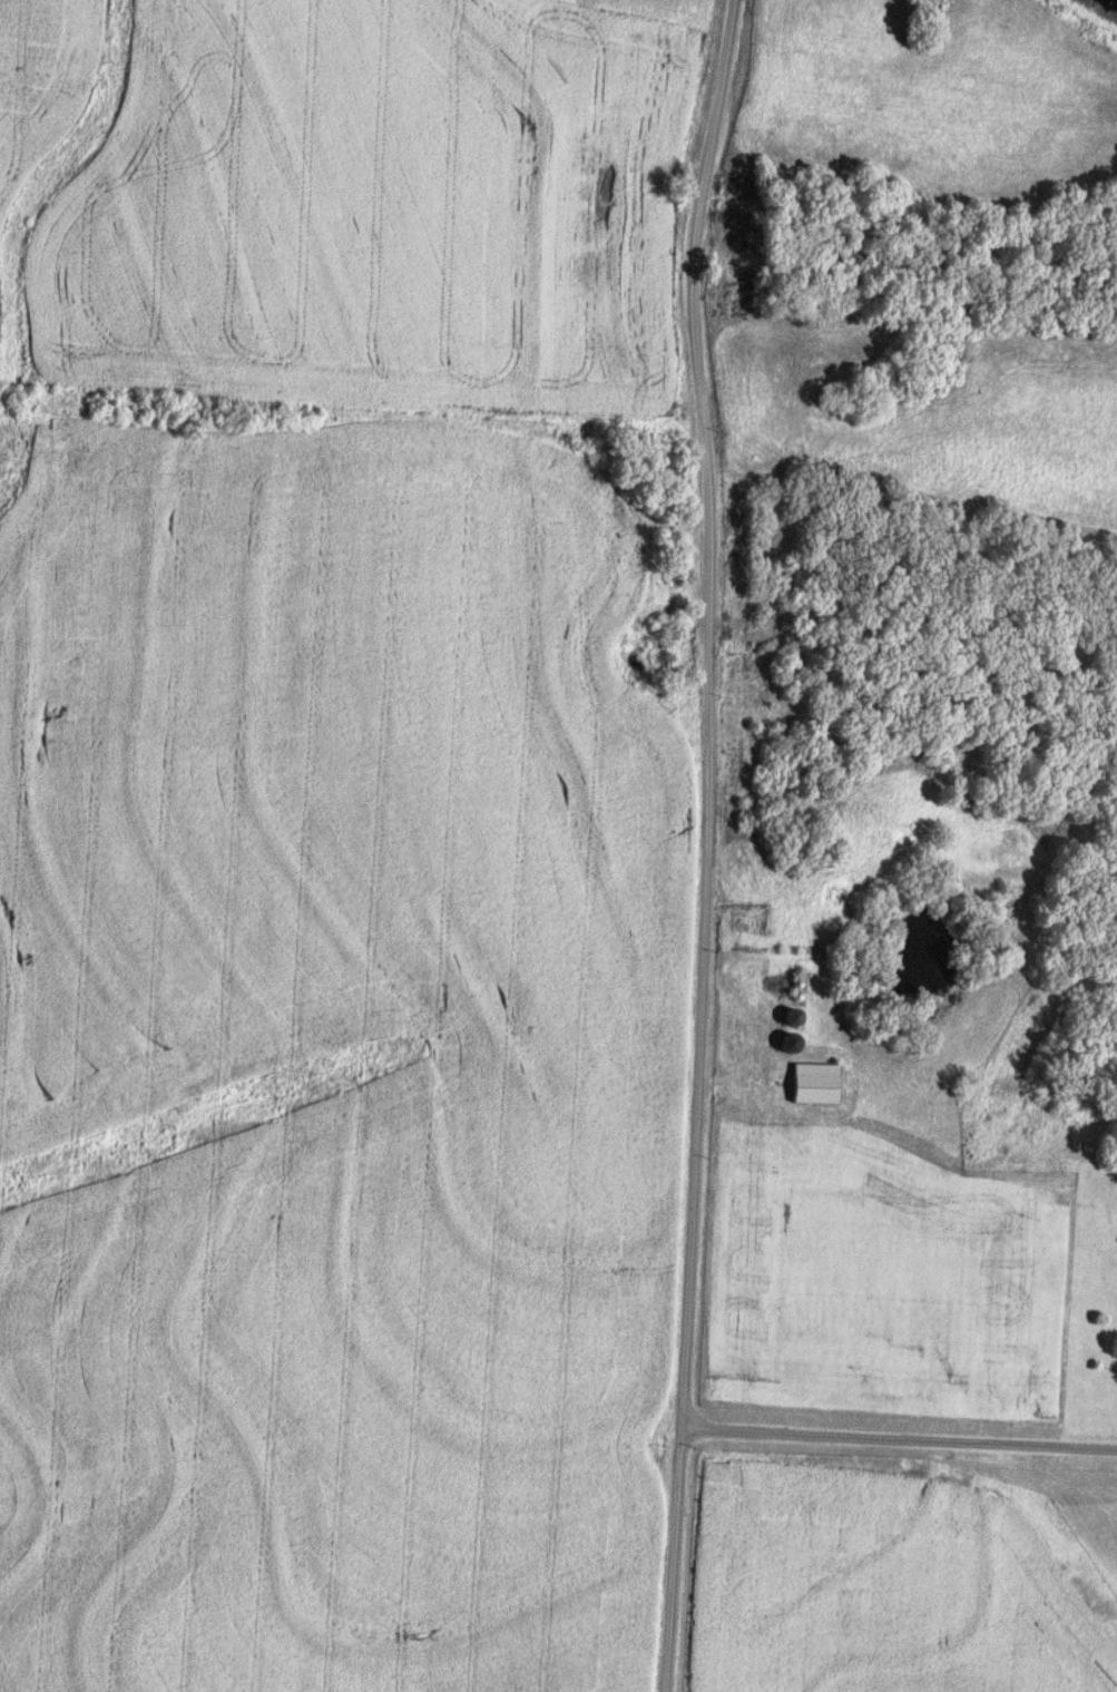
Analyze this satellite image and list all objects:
road: (712, 843)
building: (788, 1018)
building: (785, 1045)
building: (812, 1085)
road: (901, 1438)

